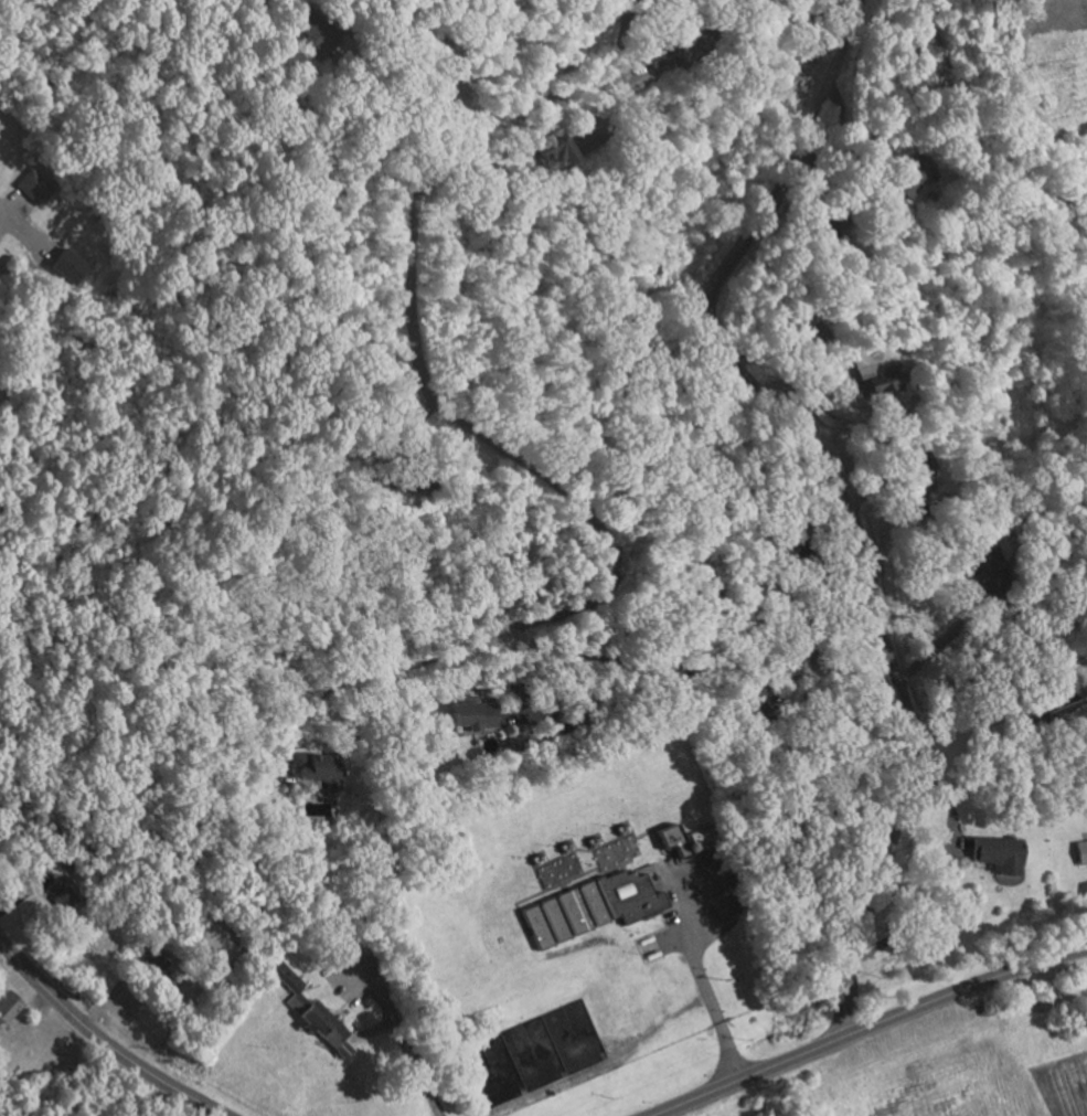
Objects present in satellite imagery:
road: (385, 26)
building: (318, 33)
building: (929, 64)
road: (1024, 85)
road: (568, 107)
building: (565, 146)
building: (914, 176)
building: (36, 187)
road: (2, 219)
building: (73, 266)
building: (884, 376)
road: (840, 478)
road: (563, 496)
road: (949, 637)
road: (359, 676)
road: (601, 711)
building: (475, 715)
road: (972, 722)
building: (518, 742)
building: (318, 768)
building: (702, 839)
building: (675, 846)
building: (1083, 852)
building: (1003, 854)
building: (64, 896)
building: (598, 908)
wastewater plant: (576, 926)
building: (154, 961)
road: (701, 981)
building: (11, 1007)
building: (313, 1011)
road: (866, 1027)
road: (394, 1033)
road: (102, 1040)

